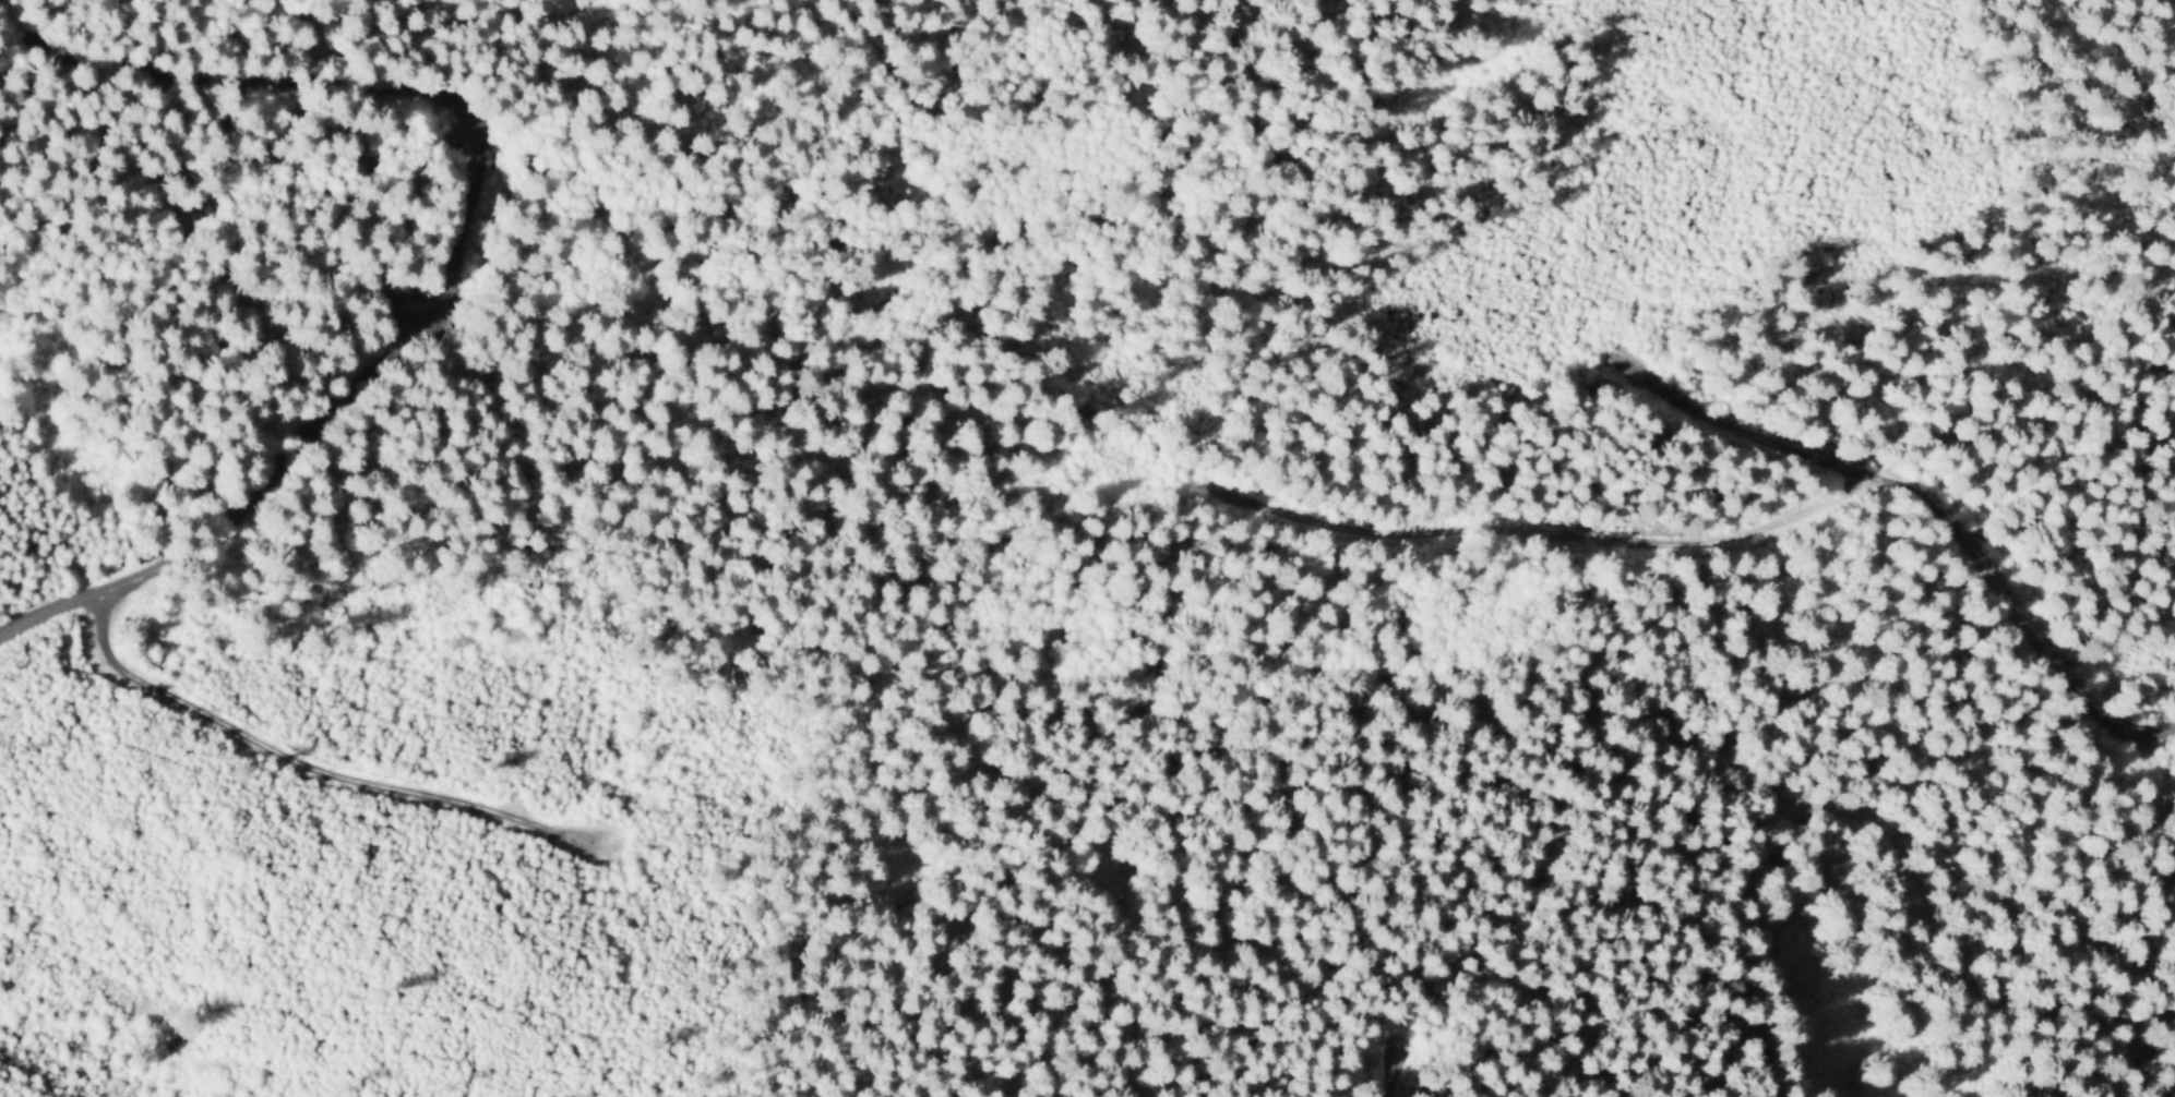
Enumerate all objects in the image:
road: (464, 244)
road: (1753, 528)
road: (310, 766)

